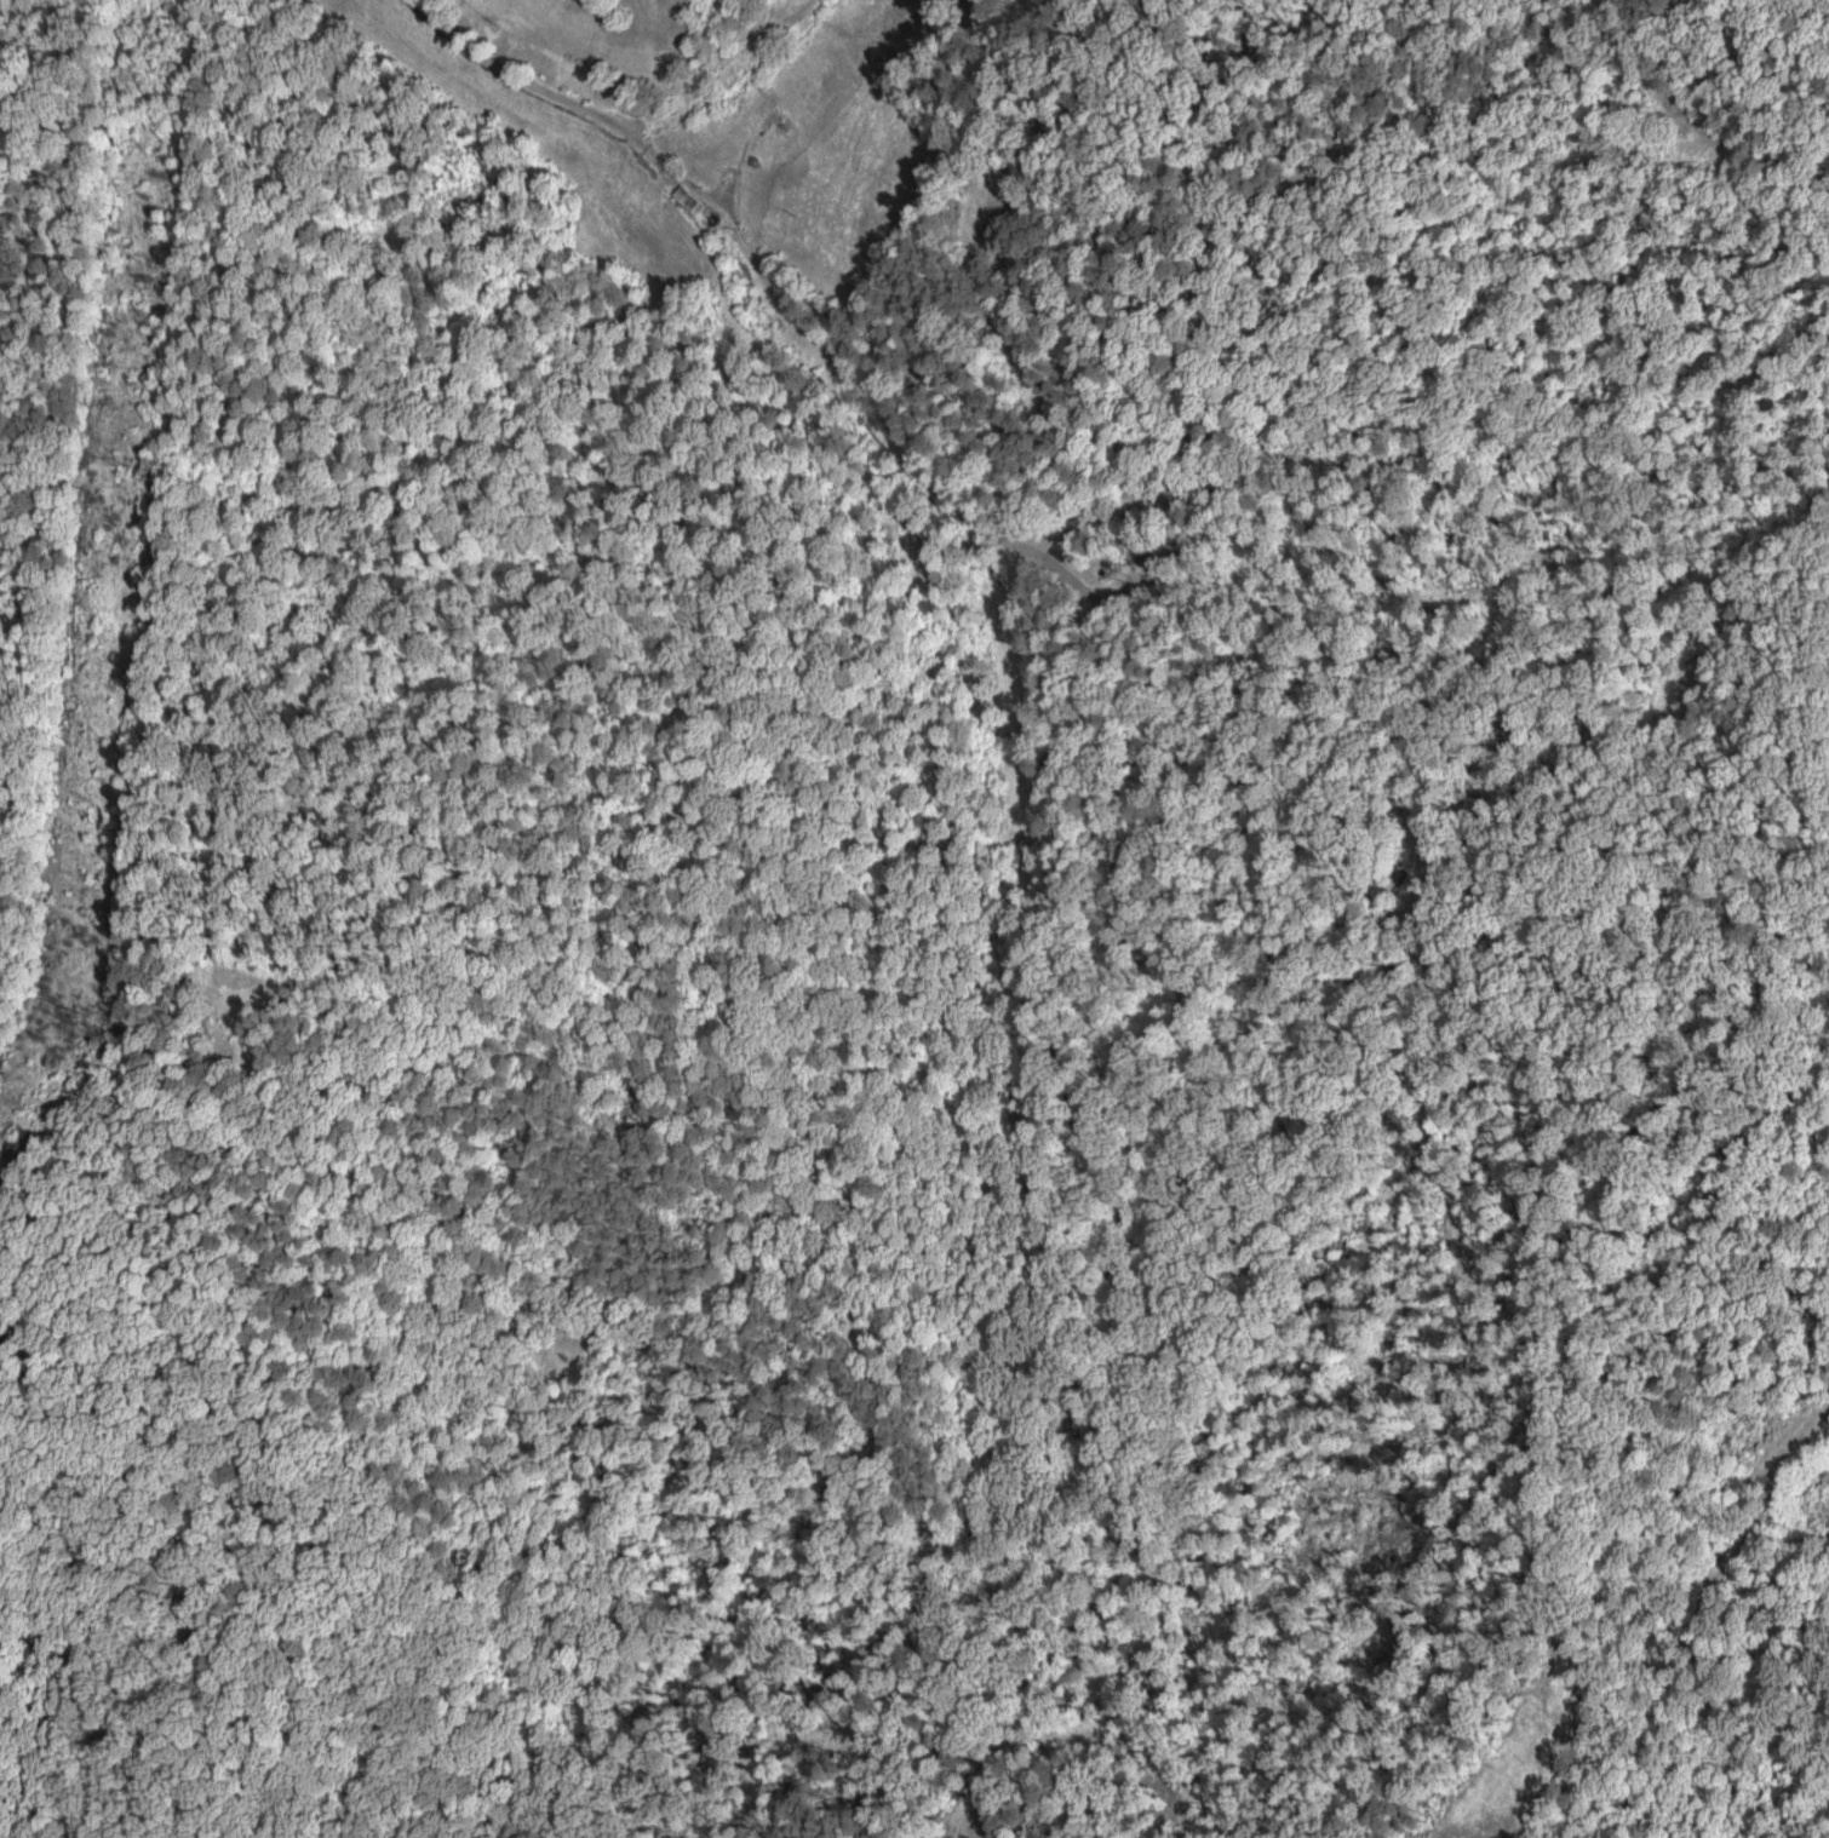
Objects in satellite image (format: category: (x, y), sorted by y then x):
power tower: (122, 465)
road: (785, 584)
road: (27, 938)
power tower: (73, 1004)
road: (689, 1210)
road: (729, 1644)
road: (440, 1752)

